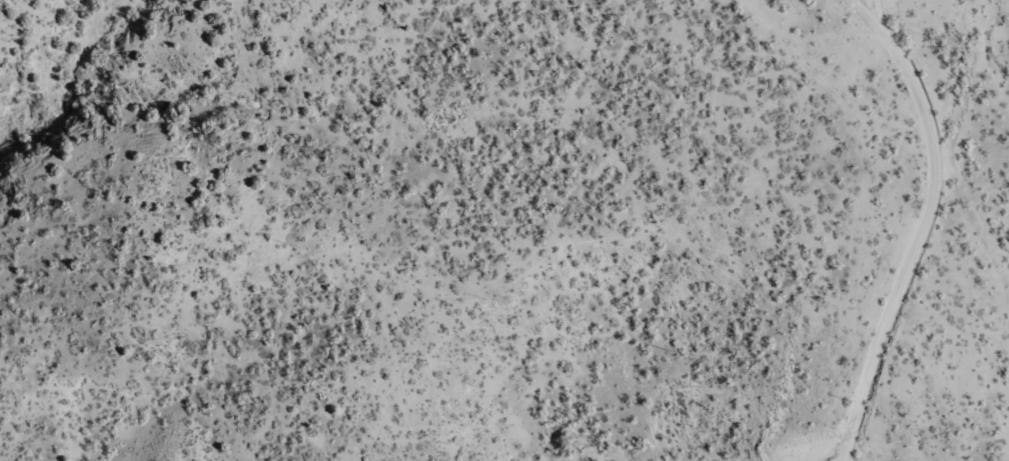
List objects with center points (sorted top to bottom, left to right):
road: (900, 44)
road: (919, 285)

